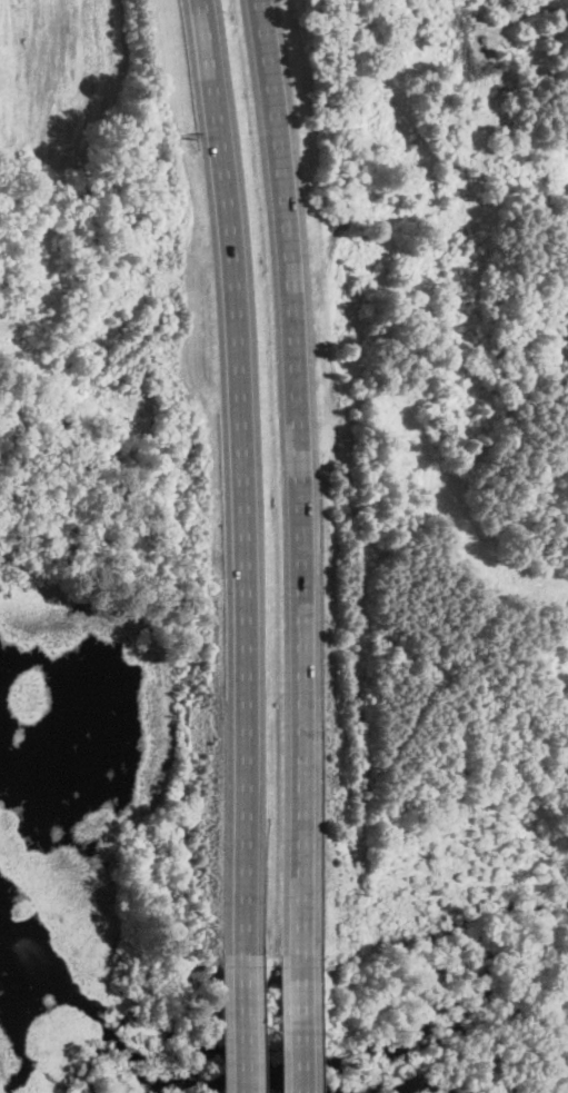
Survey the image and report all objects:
road: (248, 477)
road: (305, 479)
road: (246, 1024)
road: (302, 1026)
quarry: (509, 1031)

